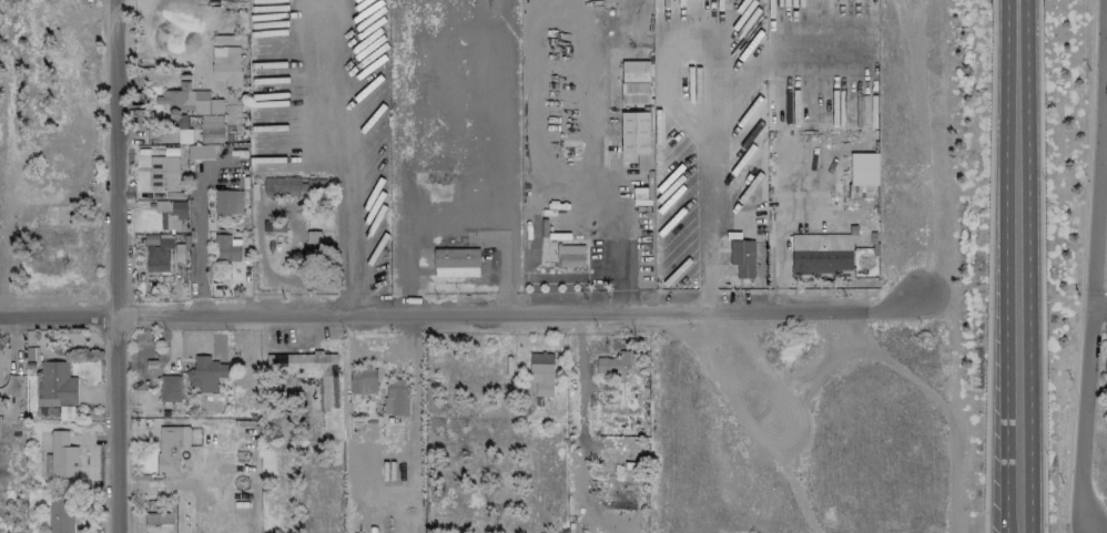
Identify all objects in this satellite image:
road: (992, 9)
road: (1038, 9)
building: (226, 64)
building: (634, 82)
building: (199, 111)
building: (200, 152)
road: (345, 156)
building: (163, 174)
building: (863, 175)
building: (433, 177)
building: (291, 186)
road: (610, 195)
building: (227, 202)
building: (170, 213)
road: (201, 238)
building: (313, 242)
building: (226, 248)
building: (821, 253)
building: (159, 256)
building: (571, 256)
building: (742, 258)
building: (456, 263)
road: (710, 264)
road: (115, 266)
road: (1019, 266)
road: (260, 267)
road: (988, 275)
road: (1040, 275)
road: (1094, 275)
road: (459, 312)
road: (1099, 319)
building: (615, 363)
building: (1106, 367)
building: (308, 371)
building: (205, 373)
building: (541, 373)
building: (363, 379)
building: (57, 385)
building: (170, 388)
building: (396, 397)
building: (65, 413)
building: (171, 448)
building: (61, 457)
building: (621, 459)
building: (617, 495)
building: (60, 514)
building: (158, 522)

